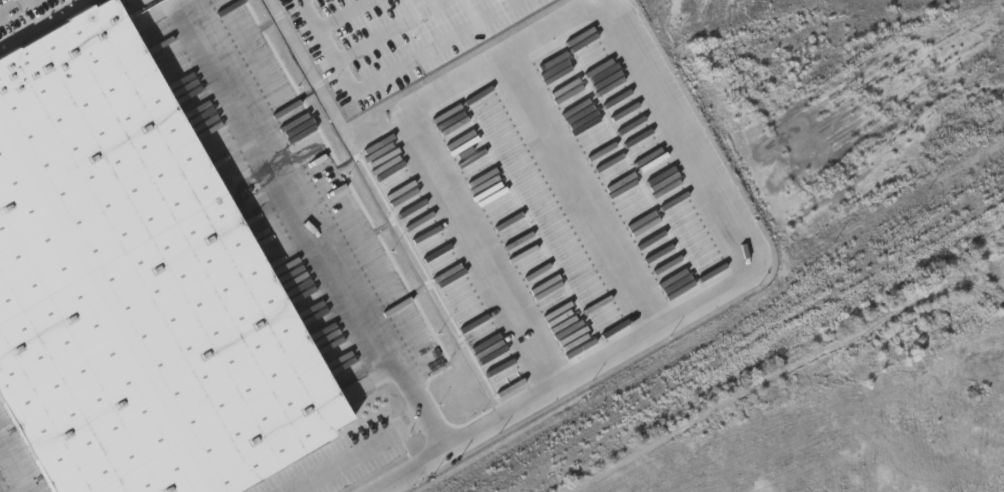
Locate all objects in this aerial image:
road: (15, 8)
road: (338, 13)
road: (388, 30)
road: (390, 73)
road: (424, 155)
road: (583, 191)
road: (747, 232)
road: (348, 276)
building: (135, 283)
road: (483, 425)
road: (414, 473)

